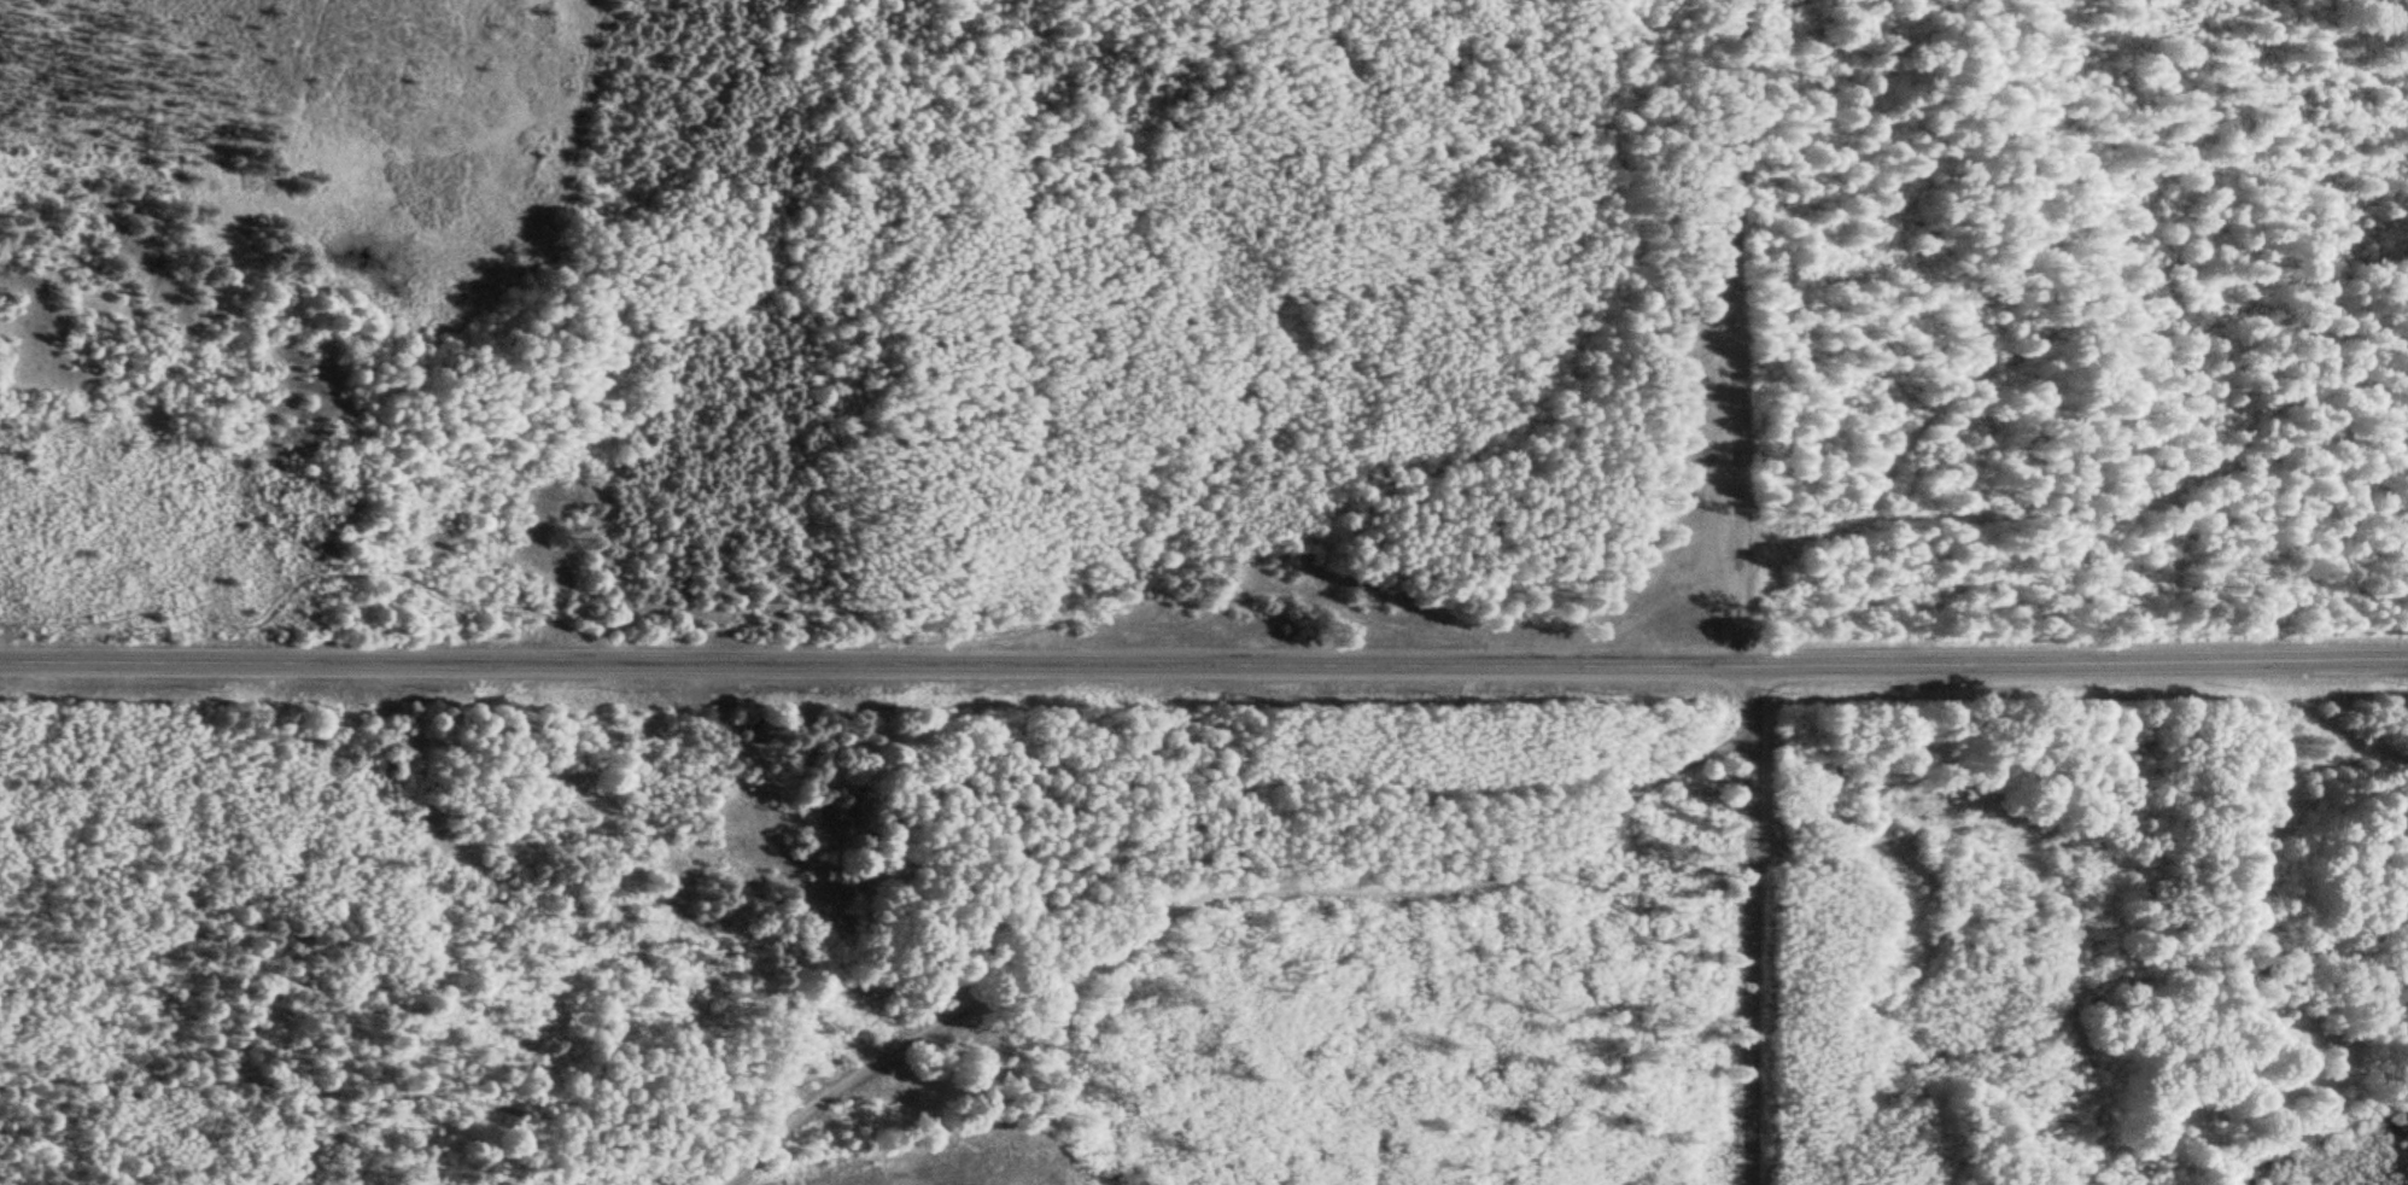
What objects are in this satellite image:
road: (1751, 333)
road: (2081, 661)
road: (877, 662)
road: (1252, 894)
road: (1754, 926)
road: (220, 1090)

